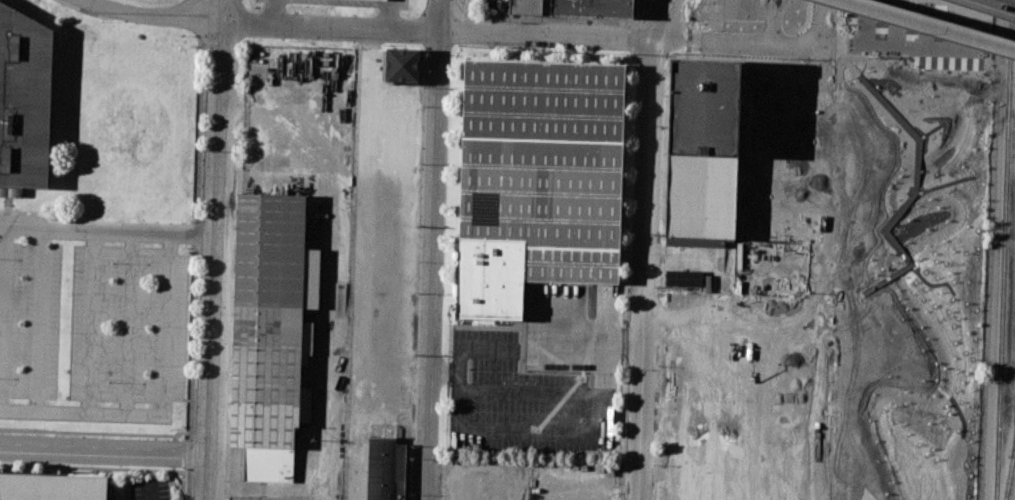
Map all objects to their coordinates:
road: (1008, 1)
building: (523, 6)
building: (591, 8)
road: (219, 11)
road: (276, 11)
road: (387, 13)
road: (156, 15)
road: (468, 16)
road: (439, 17)
road: (824, 22)
road: (285, 25)
road: (931, 25)
road: (395, 31)
road: (631, 39)
building: (400, 64)
building: (25, 101)
road: (229, 112)
building: (701, 153)
building: (537, 179)
road: (84, 238)
road: (211, 239)
road: (190, 242)
road: (643, 246)
railway: (1005, 250)
road: (432, 266)
building: (683, 278)
road: (326, 304)
parking lot: (93, 311)
road: (4, 322)
road: (41, 323)
road: (93, 325)
road: (131, 326)
building: (269, 332)
road: (631, 340)
road: (438, 376)
road: (453, 376)
road: (560, 394)
parking lot: (522, 400)
parking lot: (788, 404)
road: (161, 406)
road: (529, 429)
railway: (1013, 444)
road: (102, 453)
building: (386, 469)
railway: (1009, 469)
road: (203, 478)
building: (51, 487)
road: (230, 488)
road: (147, 493)

